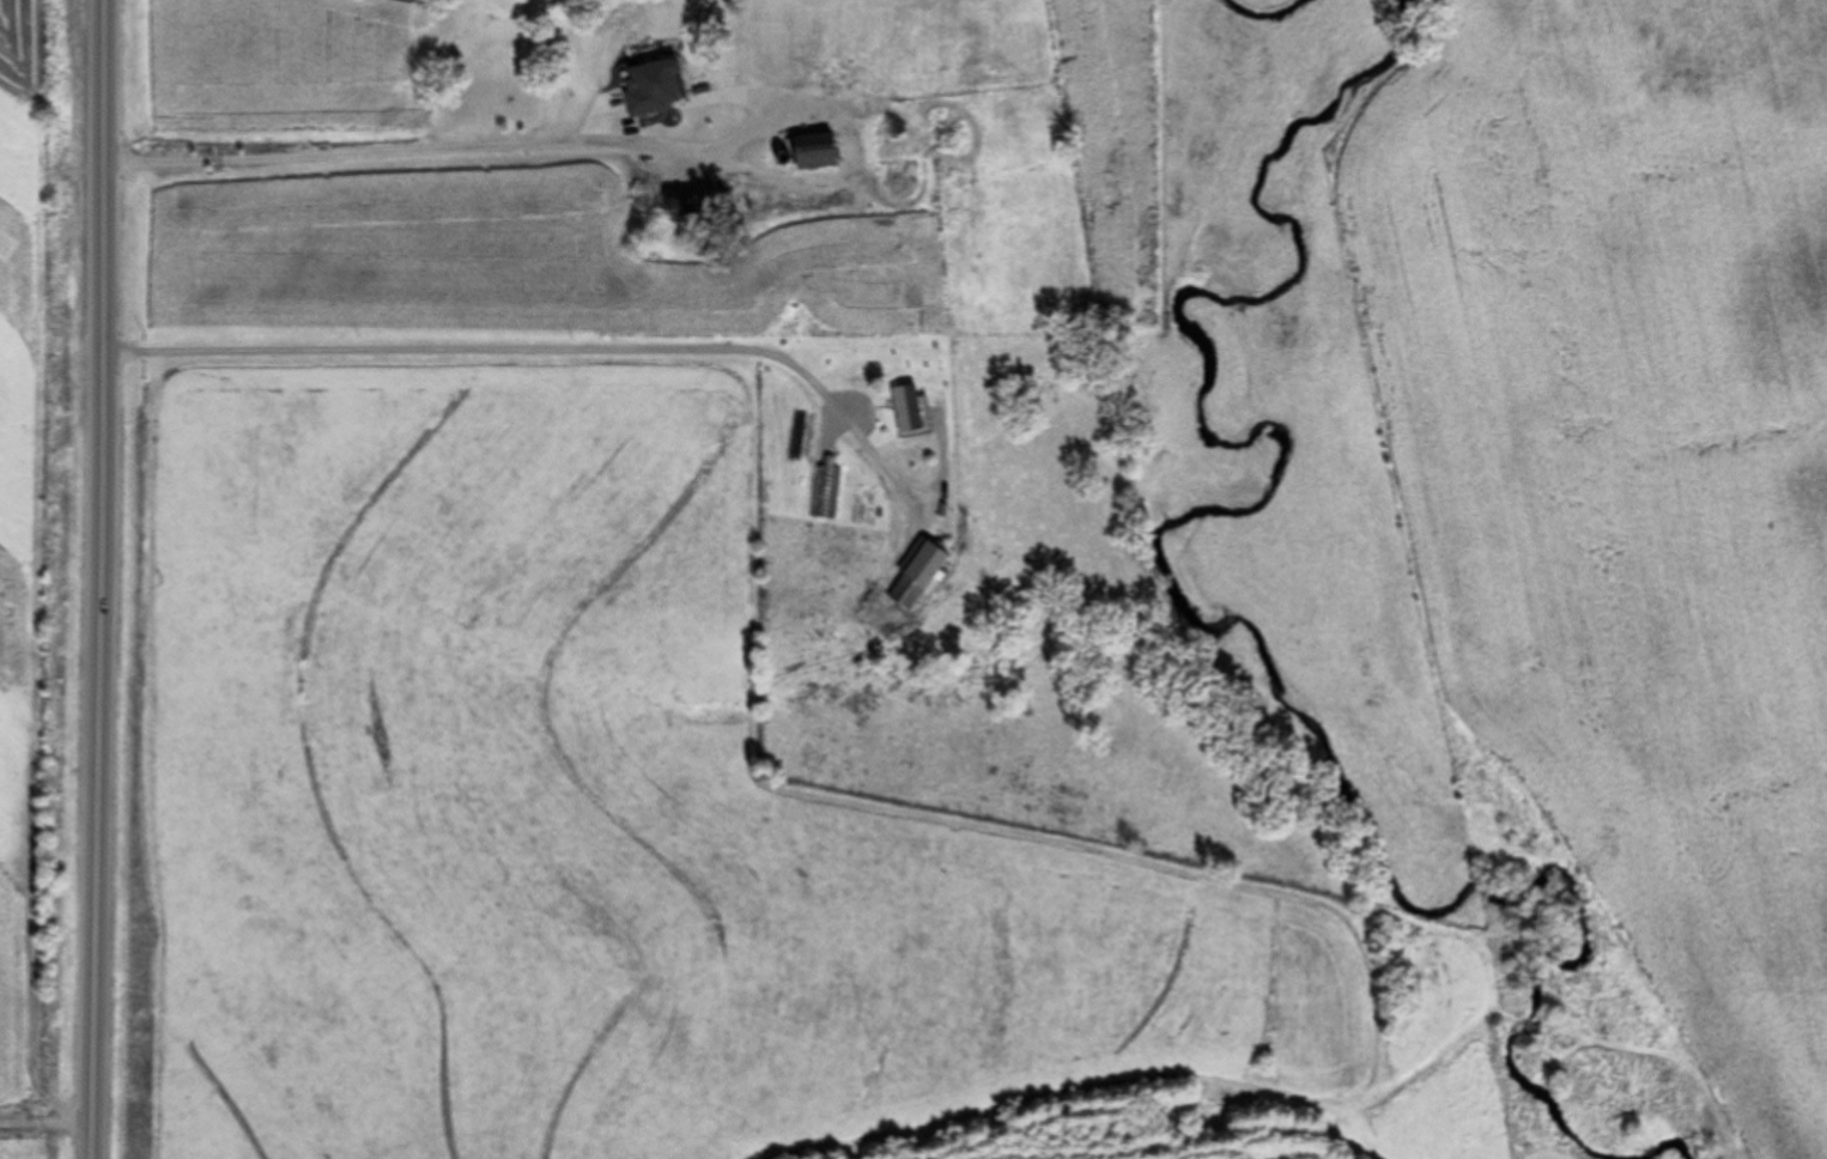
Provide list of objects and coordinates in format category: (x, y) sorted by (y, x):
river: (1277, 7)
road: (432, 150)
building: (811, 153)
building: (765, 163)
building: (678, 206)
road: (590, 352)
building: (903, 407)
building: (913, 576)
road: (99, 579)
river: (1178, 601)
road: (45, 1130)

